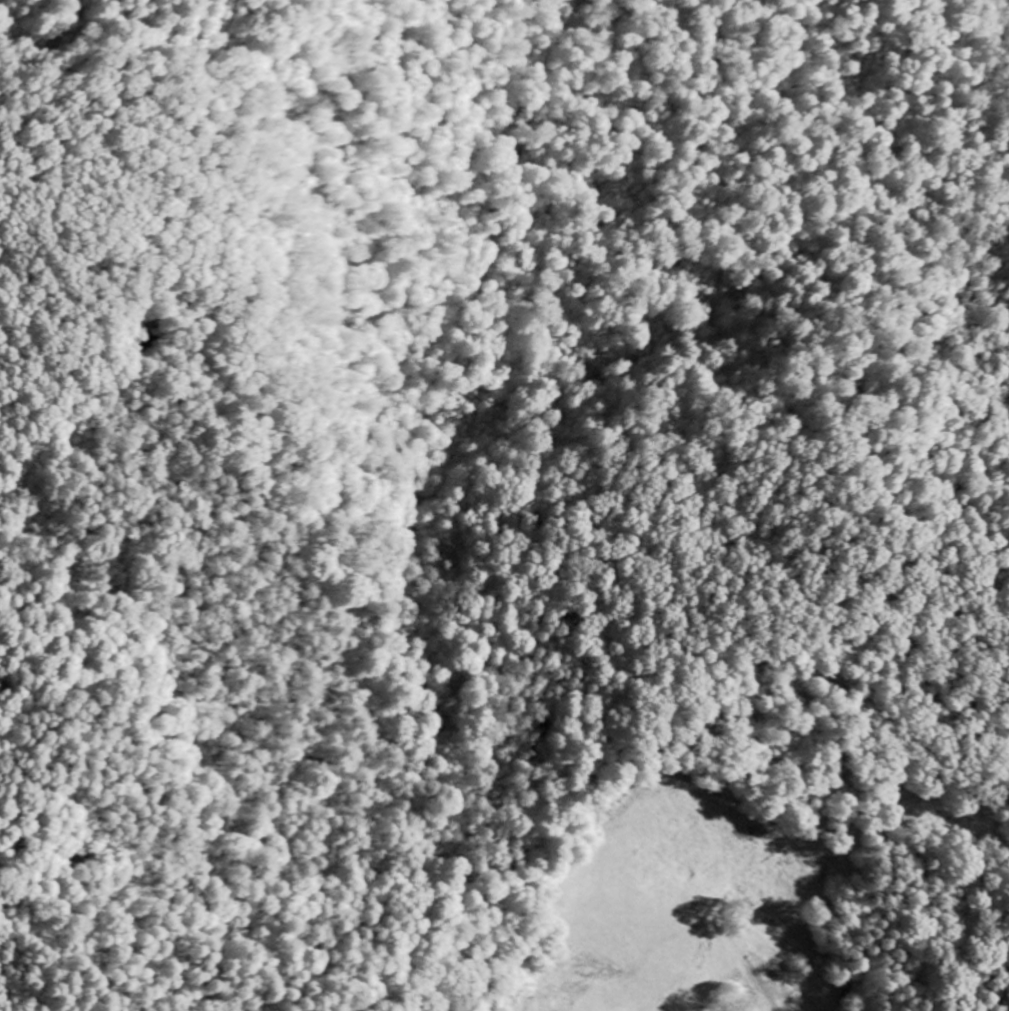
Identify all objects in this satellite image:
road: (807, 846)

